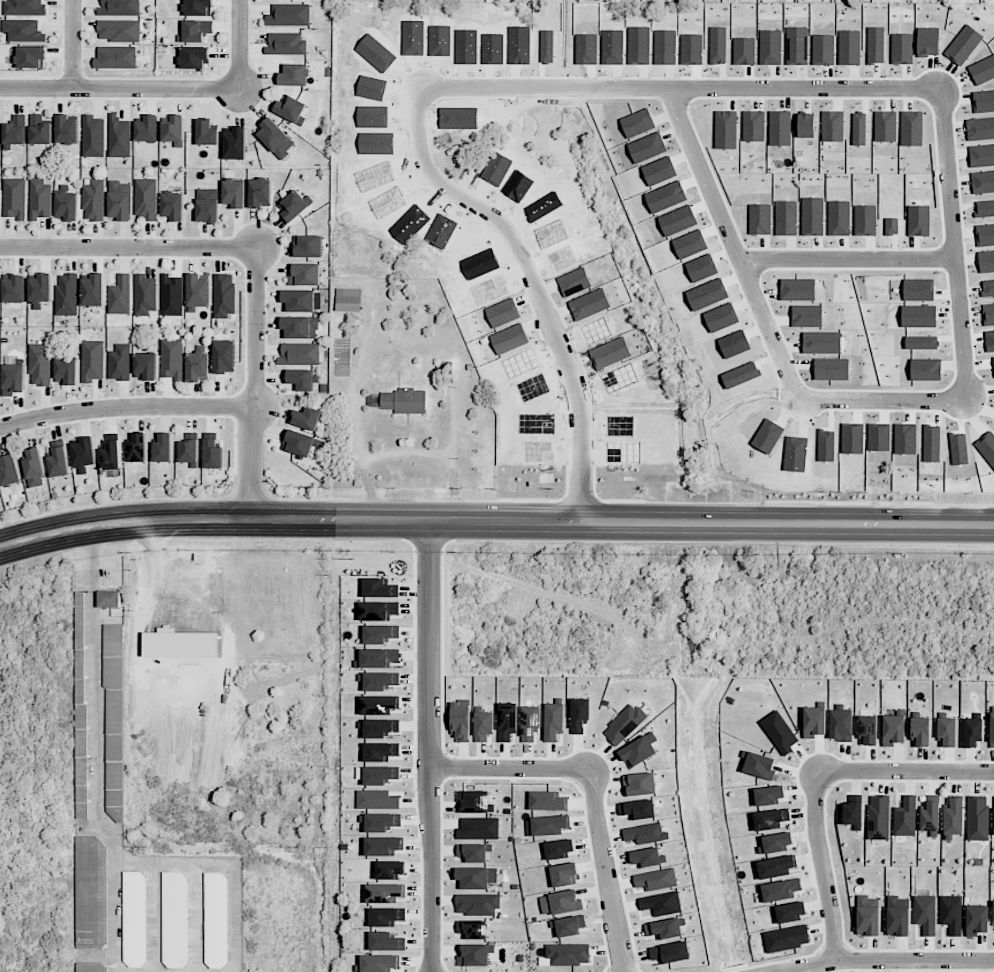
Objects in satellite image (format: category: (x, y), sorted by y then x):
building: (24, 7)
building: (120, 7)
building: (198, 7)
building: (289, 15)
building: (23, 30)
building: (119, 30)
building: (196, 30)
road: (74, 44)
building: (286, 44)
road: (242, 45)
building: (30, 57)
building: (116, 57)
building: (194, 58)
building: (294, 75)
road: (121, 89)
road: (835, 89)
building: (291, 109)
building: (172, 128)
building: (66, 129)
building: (147, 129)
building: (40, 130)
building: (14, 131)
building: (206, 133)
building: (93, 136)
building: (119, 136)
building: (275, 138)
building: (235, 143)
building: (233, 193)
building: (260, 193)
building: (14, 198)
building: (40, 199)
building: (146, 199)
building: (93, 200)
building: (119, 200)
building: (293, 204)
building: (67, 205)
building: (172, 205)
building: (207, 205)
building: (985, 235)
building: (308, 246)
road: (129, 248)
road: (849, 260)
building: (986, 261)
building: (305, 274)
building: (988, 288)
building: (13, 289)
building: (40, 289)
building: (919, 289)
building: (93, 290)
building: (197, 291)
building: (67, 294)
building: (144, 294)
building: (120, 295)
building: (171, 295)
building: (224, 295)
building: (347, 300)
building: (301, 301)
building: (988, 314)
building: (919, 316)
building: (299, 327)
building: (989, 341)
building: (922, 342)
building: (299, 353)
building: (224, 356)
building: (171, 359)
building: (92, 361)
building: (119, 362)
building: (40, 364)
building: (198, 364)
building: (145, 366)
building: (926, 368)
building: (66, 371)
building: (13, 379)
building: (301, 379)
road: (255, 383)
building: (404, 401)
road: (126, 409)
building: (307, 418)
building: (300, 442)
building: (931, 443)
building: (987, 446)
building: (163, 447)
building: (136, 448)
building: (959, 448)
building: (188, 451)
building: (111, 452)
road: (440, 453)
building: (84, 454)
building: (58, 460)
road: (367, 461)
building: (34, 468)
building: (8, 470)
road: (495, 522)
building: (137, 572)
building: (378, 588)
building: (109, 599)
building: (378, 610)
building: (380, 634)
building: (379, 658)
building: (379, 680)
road: (97, 693)
building: (80, 703)
building: (379, 705)
building: (579, 714)
building: (507, 721)
building: (553, 721)
building: (814, 721)
building: (114, 722)
building: (461, 722)
building: (529, 722)
building: (624, 724)
building: (841, 725)
building: (483, 726)
building: (380, 727)
building: (868, 729)
building: (893, 730)
building: (992, 730)
building: (972, 731)
building: (779, 732)
building: (921, 732)
building: (947, 732)
road: (427, 746)
building: (639, 750)
building: (381, 752)
building: (759, 765)
road: (510, 769)
road: (904, 770)
building: (380, 775)
building: (640, 784)
building: (770, 795)
building: (377, 800)
building: (475, 801)
building: (548, 801)
building: (853, 814)
building: (878, 817)
building: (906, 817)
building: (930, 817)
building: (954, 817)
building: (978, 818)
building: (771, 819)
building: (382, 822)
building: (549, 825)
building: (479, 828)
building: (993, 829)
building: (646, 833)
building: (775, 843)
building: (383, 846)
building: (558, 849)
building: (473, 853)
building: (647, 857)
road: (227, 864)
road: (820, 865)
building: (776, 867)
building: (390, 869)
road: (604, 870)
building: (564, 875)
building: (476, 878)
building: (657, 879)
building: (780, 890)
building: (90, 892)
building: (384, 893)
building: (560, 902)
building: (662, 903)
building: (477, 904)
building: (791, 912)
road: (116, 913)
building: (925, 913)
building: (951, 913)
building: (993, 913)
building: (387, 916)
building: (867, 916)
building: (897, 916)
building: (134, 919)
building: (175, 920)
building: (216, 920)
building: (976, 920)
building: (570, 925)
building: (665, 928)
building: (473, 929)
building: (787, 938)
building: (386, 941)
building: (671, 952)
building: (475, 955)
building: (566, 955)
road: (883, 959)
building: (379, 963)
building: (91, 967)

